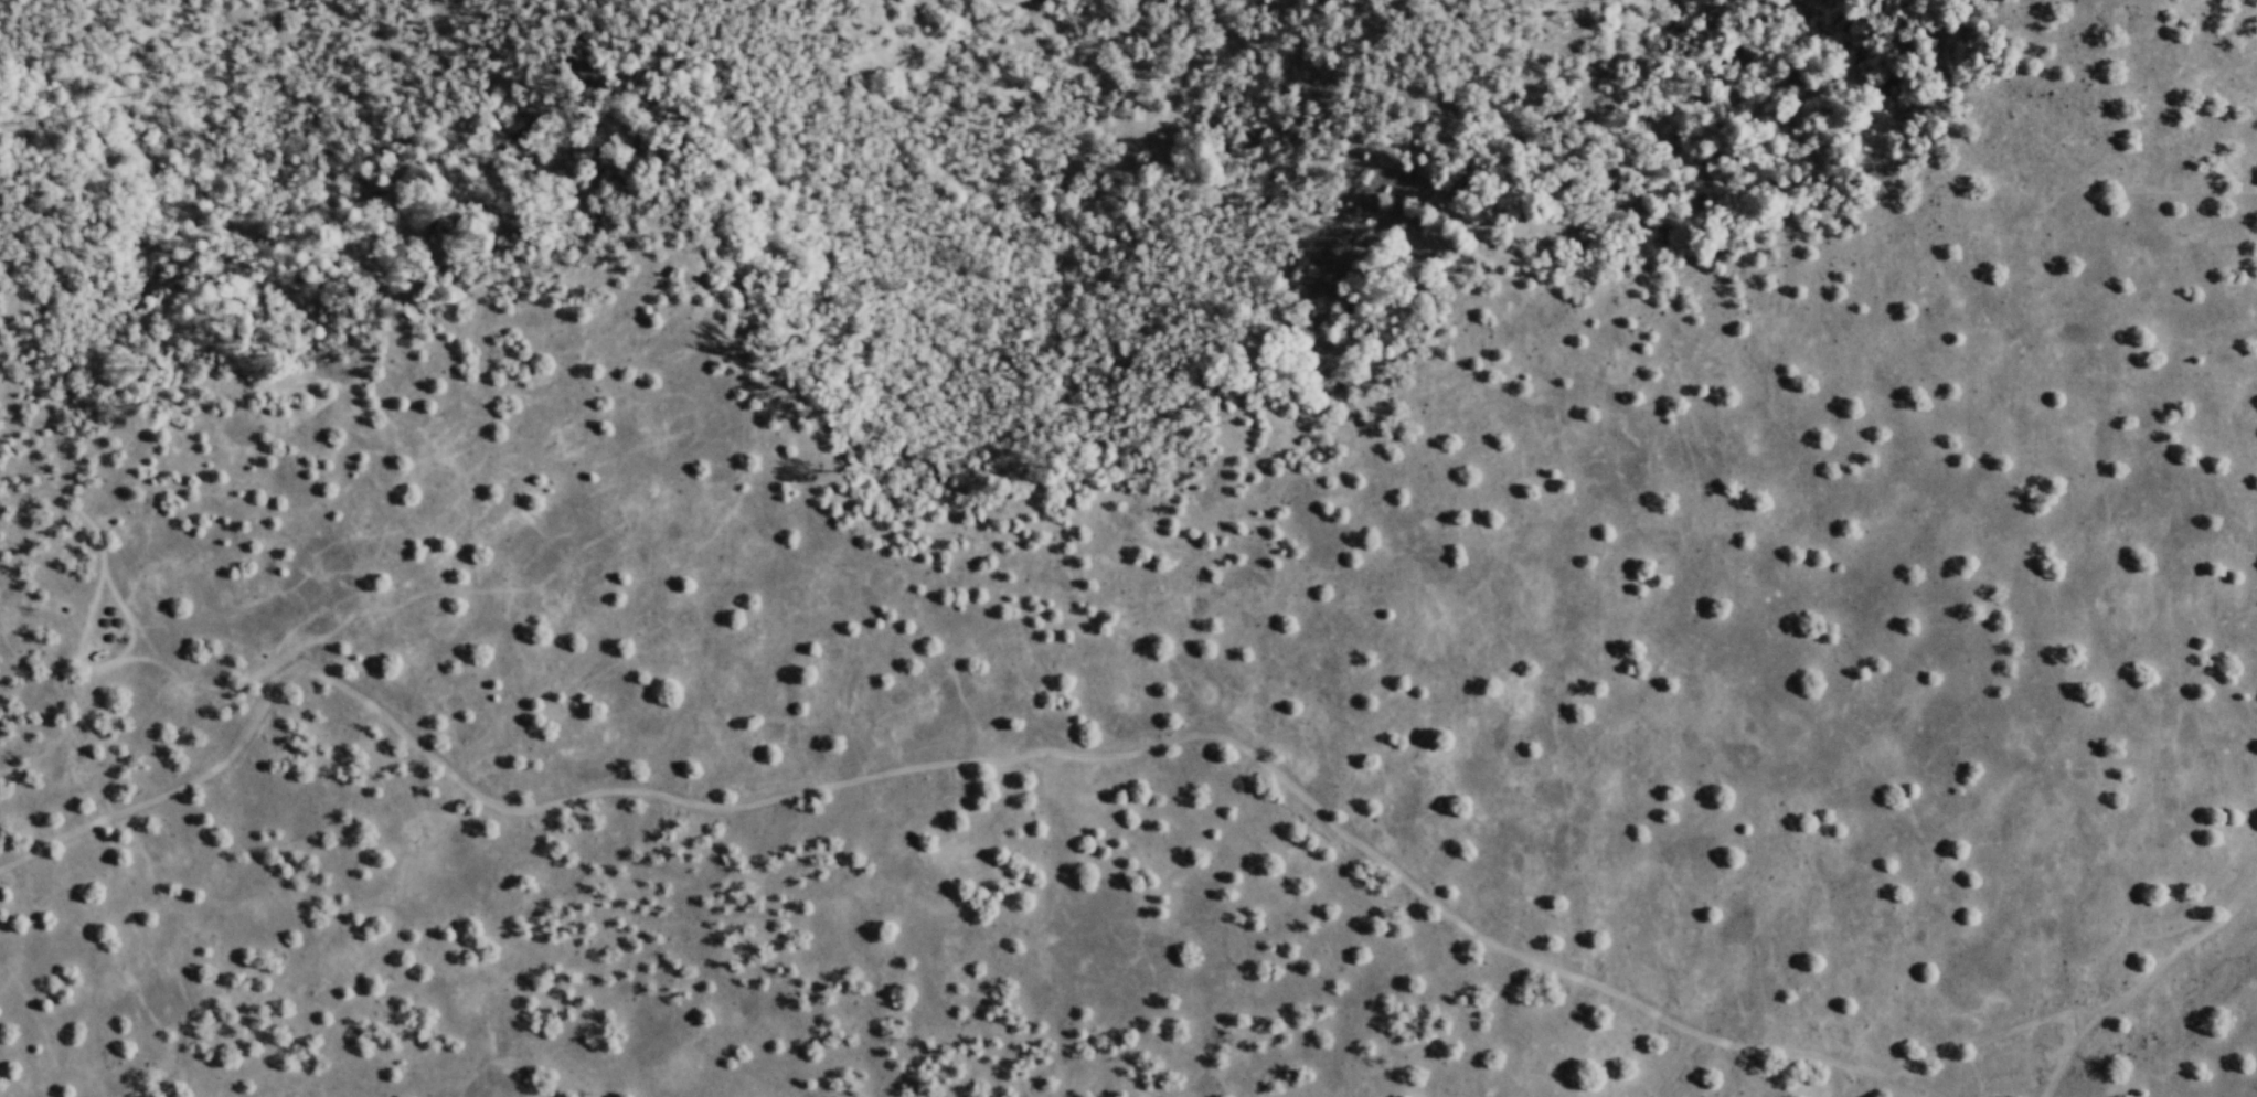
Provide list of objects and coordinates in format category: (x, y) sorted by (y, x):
road: (2142, 984)

